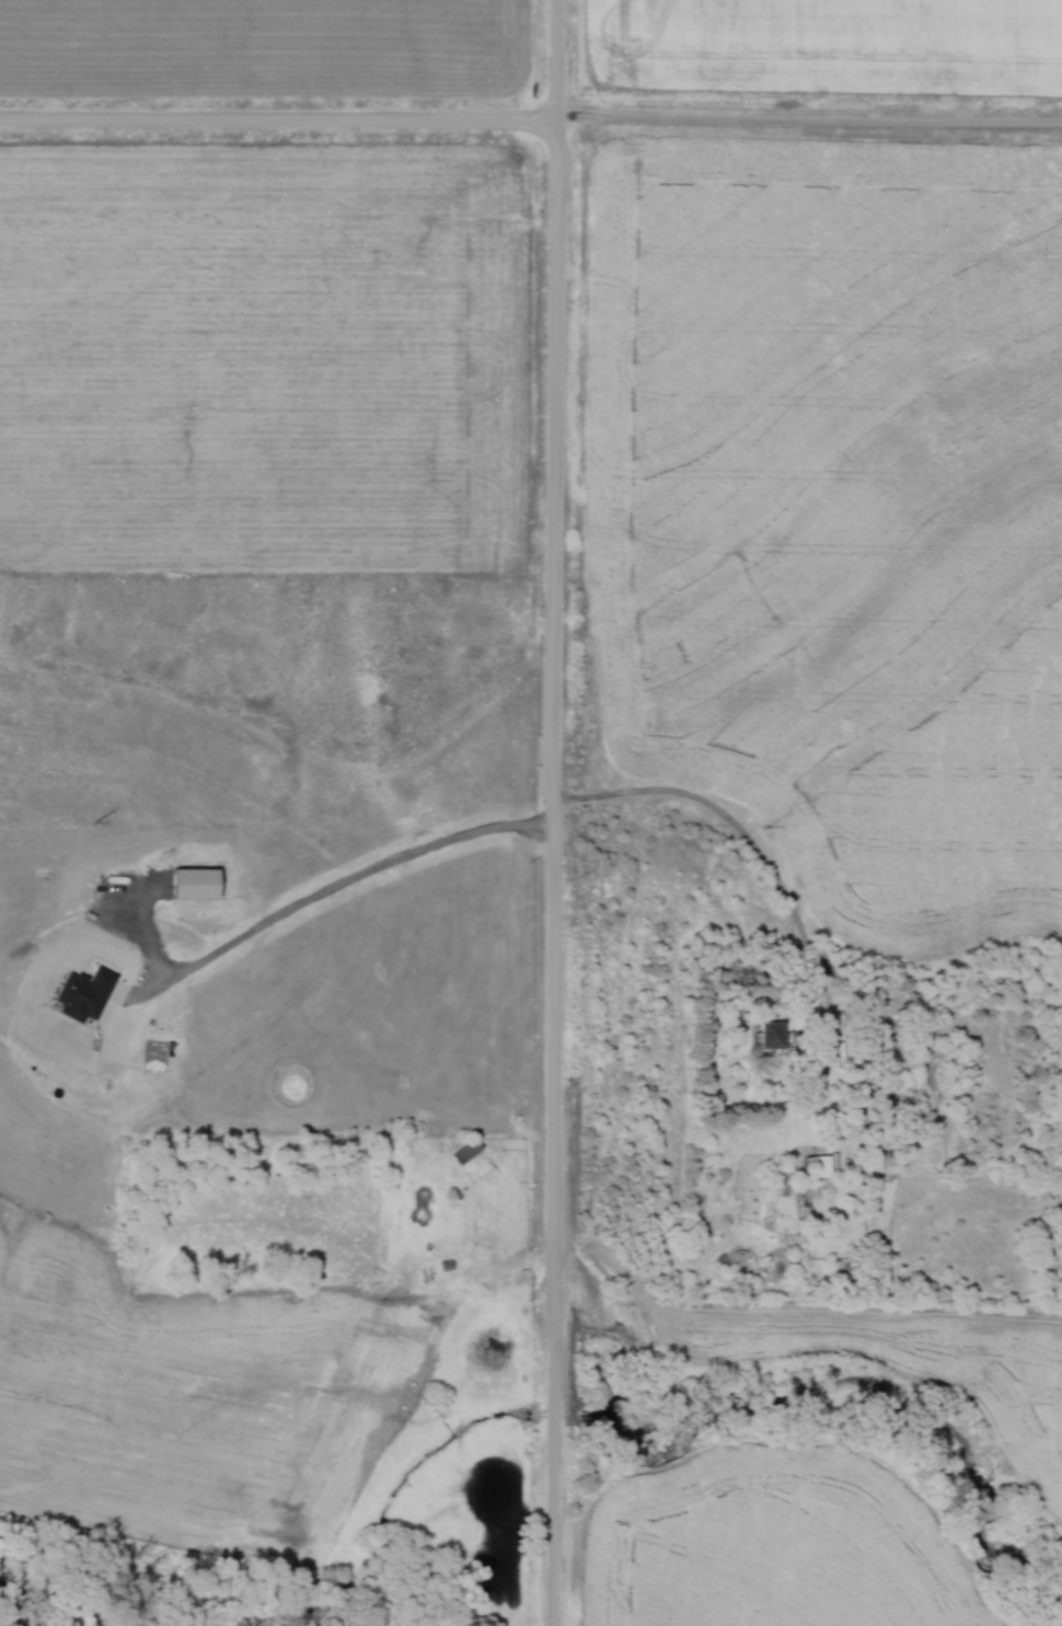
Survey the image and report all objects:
road: (279, 113)
crop: (264, 359)
road: (557, 812)
road: (749, 842)
building: (777, 1035)
building: (472, 1151)
crop: (186, 1397)

